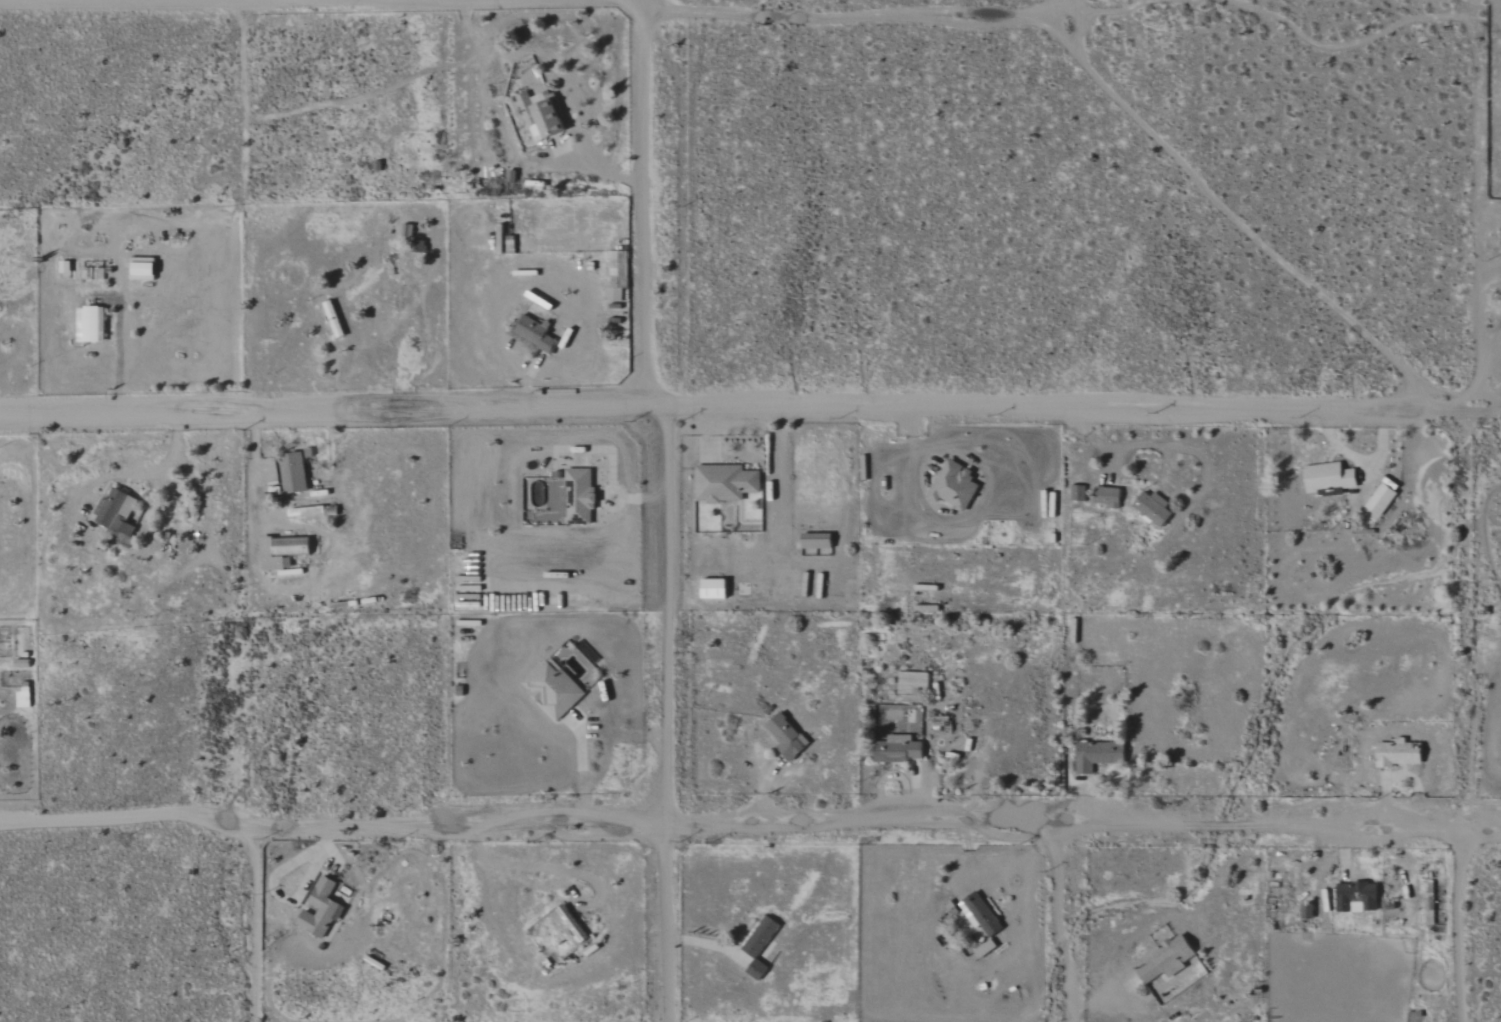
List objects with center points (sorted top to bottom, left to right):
road: (145, 1)
road: (1051, 10)
road: (821, 17)
road: (555, 79)
road: (314, 107)
building: (540, 116)
road: (642, 208)
road: (1236, 222)
building: (142, 271)
building: (614, 295)
building: (334, 320)
building: (91, 325)
road: (1477, 339)
road: (118, 341)
road: (1087, 408)
road: (337, 412)
road: (1134, 445)
building: (271, 470)
building: (293, 473)
building: (1330, 476)
road: (611, 478)
road: (253, 479)
building: (725, 482)
building: (954, 485)
building: (1108, 496)
building: (577, 498)
building: (1382, 499)
road: (202, 502)
building: (127, 508)
building: (1154, 508)
building: (115, 517)
building: (817, 540)
building: (282, 551)
building: (714, 588)
building: (912, 683)
building: (553, 689)
building: (23, 696)
road: (667, 712)
building: (786, 736)
road: (581, 741)
building: (899, 749)
building: (1095, 755)
road: (1082, 820)
road: (330, 831)
road: (503, 863)
road: (272, 882)
building: (1357, 896)
building: (320, 909)
building: (979, 914)
road: (1061, 921)
road: (257, 925)
road: (1459, 926)
building: (760, 946)
building: (1166, 961)

